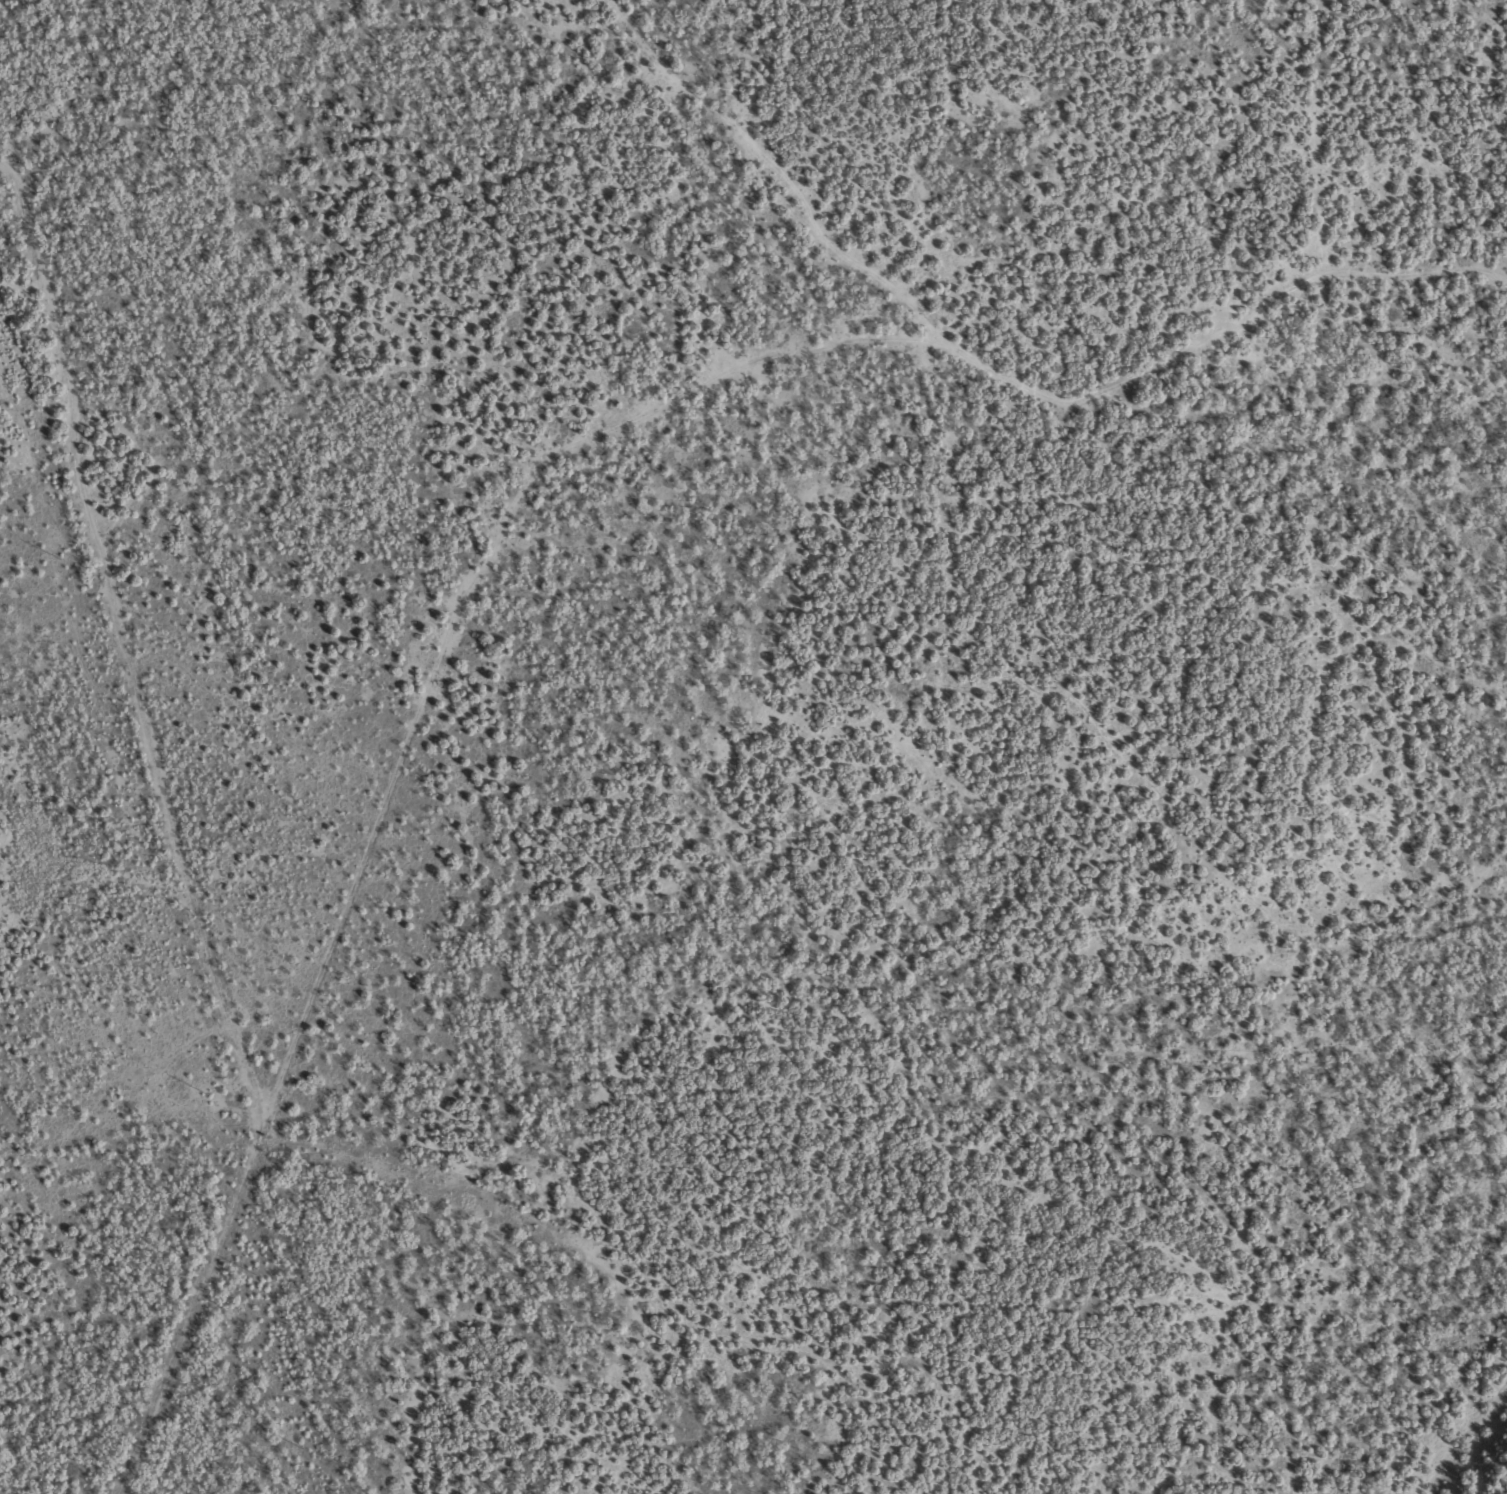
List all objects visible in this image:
road: (534, 533)
road: (131, 675)

